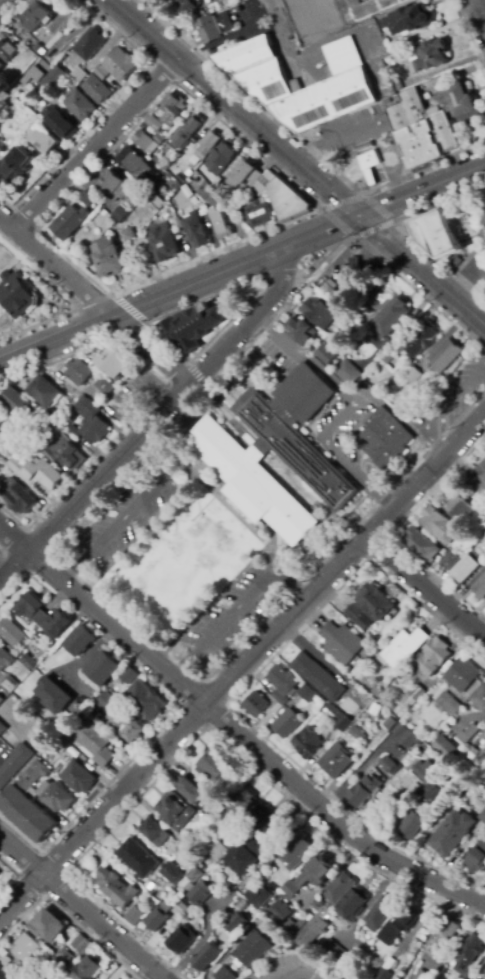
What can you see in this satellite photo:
road: (0, 0)
building: (150, 0)
building: (219, 6)
building: (368, 6)
building: (187, 8)
road: (480, 10)
building: (36, 16)
building: (407, 19)
building: (215, 26)
road: (279, 29)
road: (469, 39)
building: (88, 43)
building: (8, 51)
building: (246, 54)
building: (424, 54)
building: (2, 66)
building: (116, 68)
building: (72, 70)
building: (32, 76)
building: (51, 78)
building: (266, 81)
building: (398, 85)
building: (97, 89)
building: (330, 90)
building: (459, 98)
road: (224, 101)
building: (79, 106)
building: (172, 109)
building: (154, 123)
building: (61, 125)
building: (187, 132)
building: (444, 132)
building: (159, 139)
building: (44, 140)
building: (429, 140)
road: (300, 142)
building: (145, 143)
road: (96, 146)
building: (207, 146)
building: (412, 147)
building: (221, 159)
building: (370, 162)
building: (135, 165)
building: (14, 167)
building: (195, 167)
building: (244, 176)
road: (430, 185)
building: (115, 187)
building: (205, 191)
building: (187, 192)
building: (86, 199)
building: (157, 202)
building: (274, 203)
road: (59, 204)
building: (184, 213)
building: (118, 214)
road: (391, 221)
building: (484, 221)
building: (69, 223)
building: (462, 223)
building: (177, 224)
building: (220, 224)
road: (401, 228)
building: (196, 231)
building: (438, 234)
building: (128, 236)
building: (138, 237)
building: (164, 243)
road: (339, 249)
building: (110, 258)
building: (456, 262)
road: (414, 263)
building: (476, 264)
building: (352, 272)
road: (188, 284)
building: (377, 292)
building: (18, 294)
road: (254, 296)
road: (92, 302)
building: (321, 308)
road: (130, 310)
building: (391, 316)
building: (193, 327)
building: (304, 328)
building: (420, 339)
building: (332, 354)
building: (444, 357)
building: (390, 360)
building: (113, 361)
building: (82, 371)
building: (348, 374)
building: (412, 374)
road: (196, 375)
building: (103, 386)
building: (45, 393)
parking lot: (450, 400)
building: (16, 402)
road: (442, 406)
road: (354, 408)
building: (51, 415)
road: (153, 419)
building: (89, 424)
building: (9, 431)
building: (384, 438)
building: (2, 441)
building: (63, 452)
building: (233, 457)
building: (482, 470)
building: (34, 473)
building: (18, 497)
road: (129, 509)
building: (463, 512)
parking lot: (117, 516)
building: (439, 525)
road: (394, 531)
building: (481, 533)
building: (422, 545)
building: (451, 561)
building: (467, 569)
building: (479, 588)
road: (424, 589)
building: (371, 604)
road: (236, 609)
building: (42, 616)
parking lot: (233, 625)
building: (11, 632)
building: (80, 640)
building: (341, 642)
building: (404, 647)
road: (93, 654)
building: (433, 657)
building: (5, 659)
building: (28, 661)
road: (242, 665)
building: (103, 667)
building: (352, 667)
building: (128, 675)
building: (462, 675)
building: (318, 677)
building: (283, 680)
building: (10, 684)
building: (307, 694)
building: (53, 695)
building: (412, 696)
building: (280, 698)
building: (480, 698)
building: (145, 701)
building: (107, 702)
building: (448, 704)
building: (259, 705)
building: (334, 711)
road: (466, 717)
building: (389, 723)
building: (286, 724)
building: (344, 724)
building: (128, 726)
building: (2, 729)
road: (233, 730)
building: (399, 731)
building: (468, 734)
building: (357, 735)
building: (410, 739)
building: (308, 743)
building: (94, 744)
road: (1, 746)
building: (446, 748)
building: (468, 754)
building: (480, 758)
building: (336, 761)
building: (14, 764)
building: (389, 765)
building: (217, 769)
building: (424, 772)
building: (78, 778)
building: (483, 781)
building: (193, 790)
building: (414, 790)
building: (365, 792)
building: (57, 797)
building: (431, 797)
building: (405, 802)
building: (28, 804)
building: (243, 804)
building: (177, 810)
building: (262, 817)
building: (483, 817)
building: (414, 826)
building: (155, 832)
building: (454, 834)
building: (221, 851)
building: (299, 852)
building: (249, 855)
building: (139, 858)
building: (477, 859)
building: (319, 873)
building: (0, 874)
building: (174, 874)
road: (16, 875)
building: (196, 875)
building: (116, 887)
building: (342, 888)
building: (293, 889)
building: (202, 894)
building: (258, 894)
building: (356, 904)
building: (319, 906)
road: (79, 908)
building: (282, 912)
building: (382, 913)
building: (135, 916)
road: (66, 917)
building: (50, 921)
building: (161, 921)
building: (238, 923)
building: (303, 923)
building: (401, 925)
building: (34, 931)
building: (313, 932)
building: (445, 933)
building: (180, 937)
road: (204, 938)
building: (81, 945)
building: (25, 948)
building: (254, 949)
building: (338, 953)
building: (471, 954)
building: (66, 957)
building: (208, 958)
building: (87, 968)
building: (484, 969)
road: (298, 971)
building: (32, 973)
building: (5, 974)
building: (225, 974)
building: (384, 974)
building: (422, 976)

